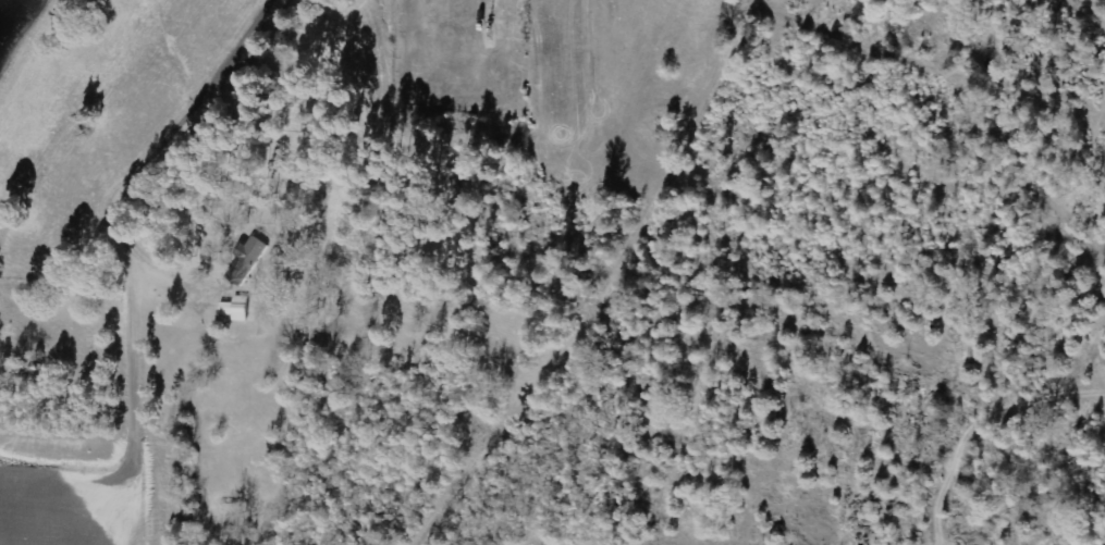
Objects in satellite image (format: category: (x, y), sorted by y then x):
building: (249, 260)
road: (652, 290)
building: (238, 309)

